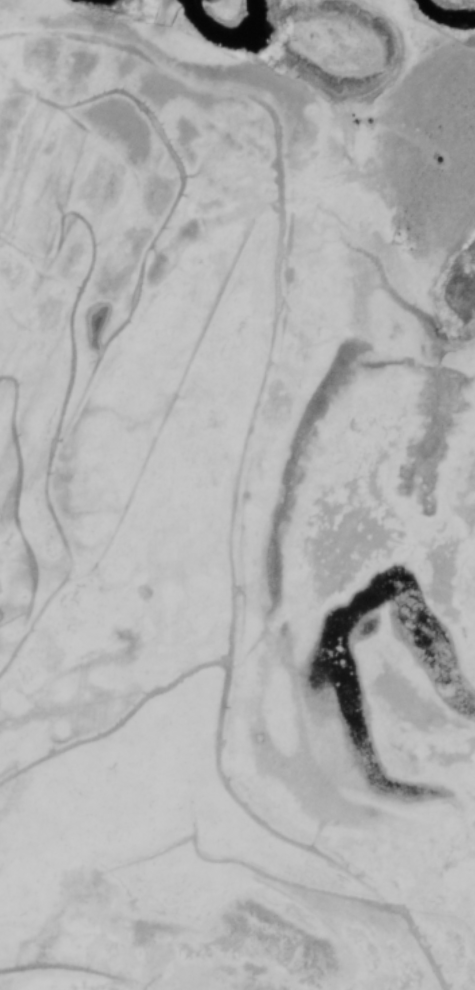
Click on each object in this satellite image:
river: (85, 0)
river: (250, 10)
river: (441, 18)
river: (208, 30)
river: (248, 30)

